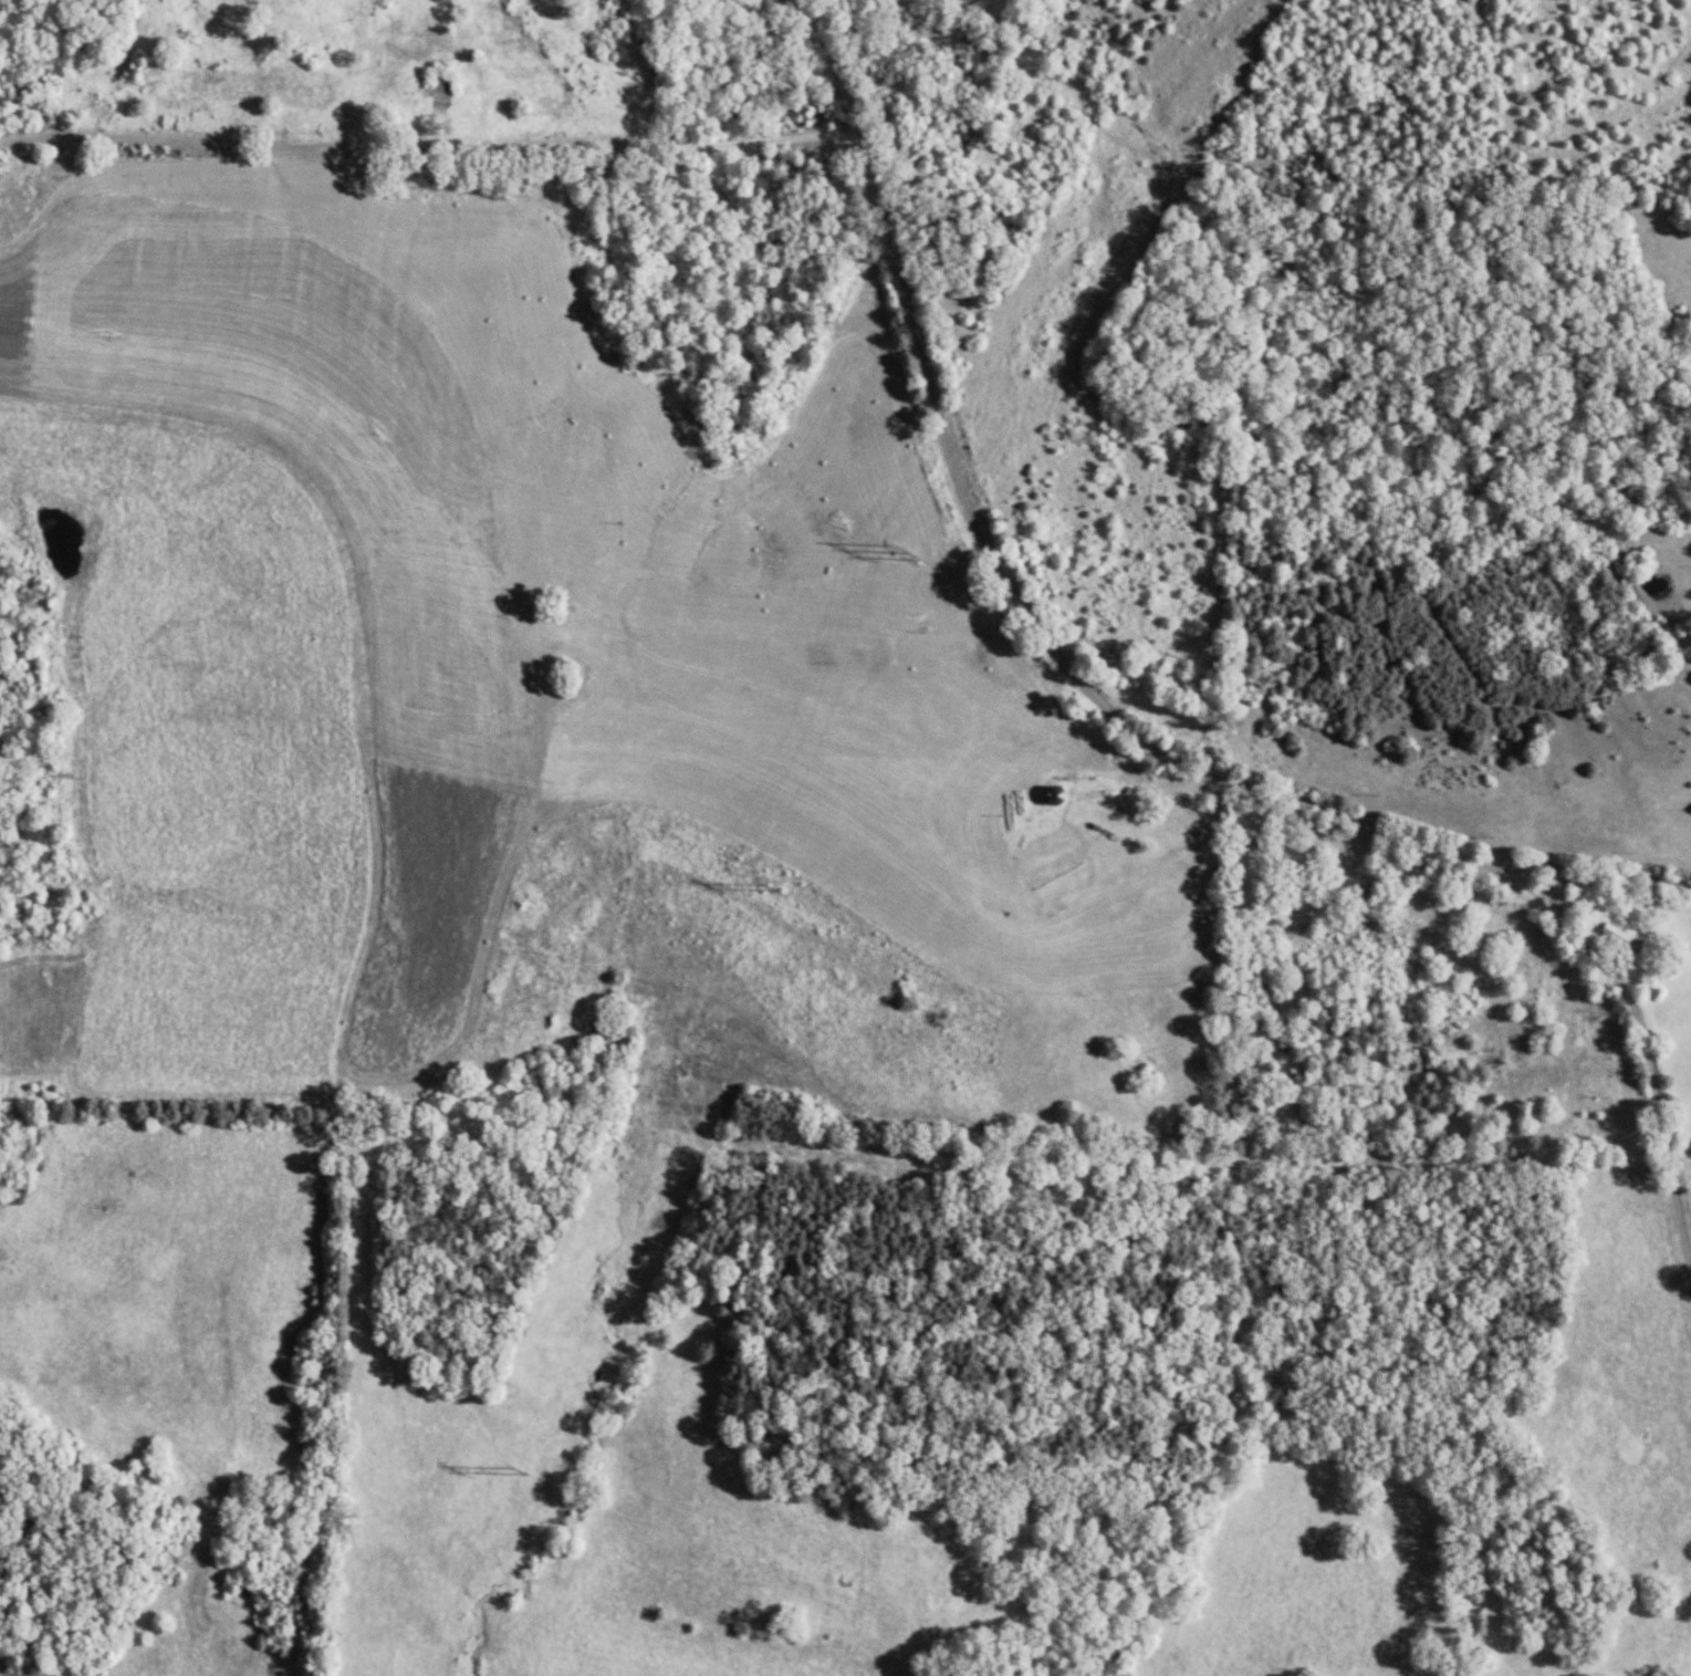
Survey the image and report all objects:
building: (437, 92)
road: (415, 146)
power tower: (905, 554)
road: (1043, 632)
power tower: (770, 889)
building: (1369, 898)
road: (1640, 1016)
power tower: (523, 1472)

